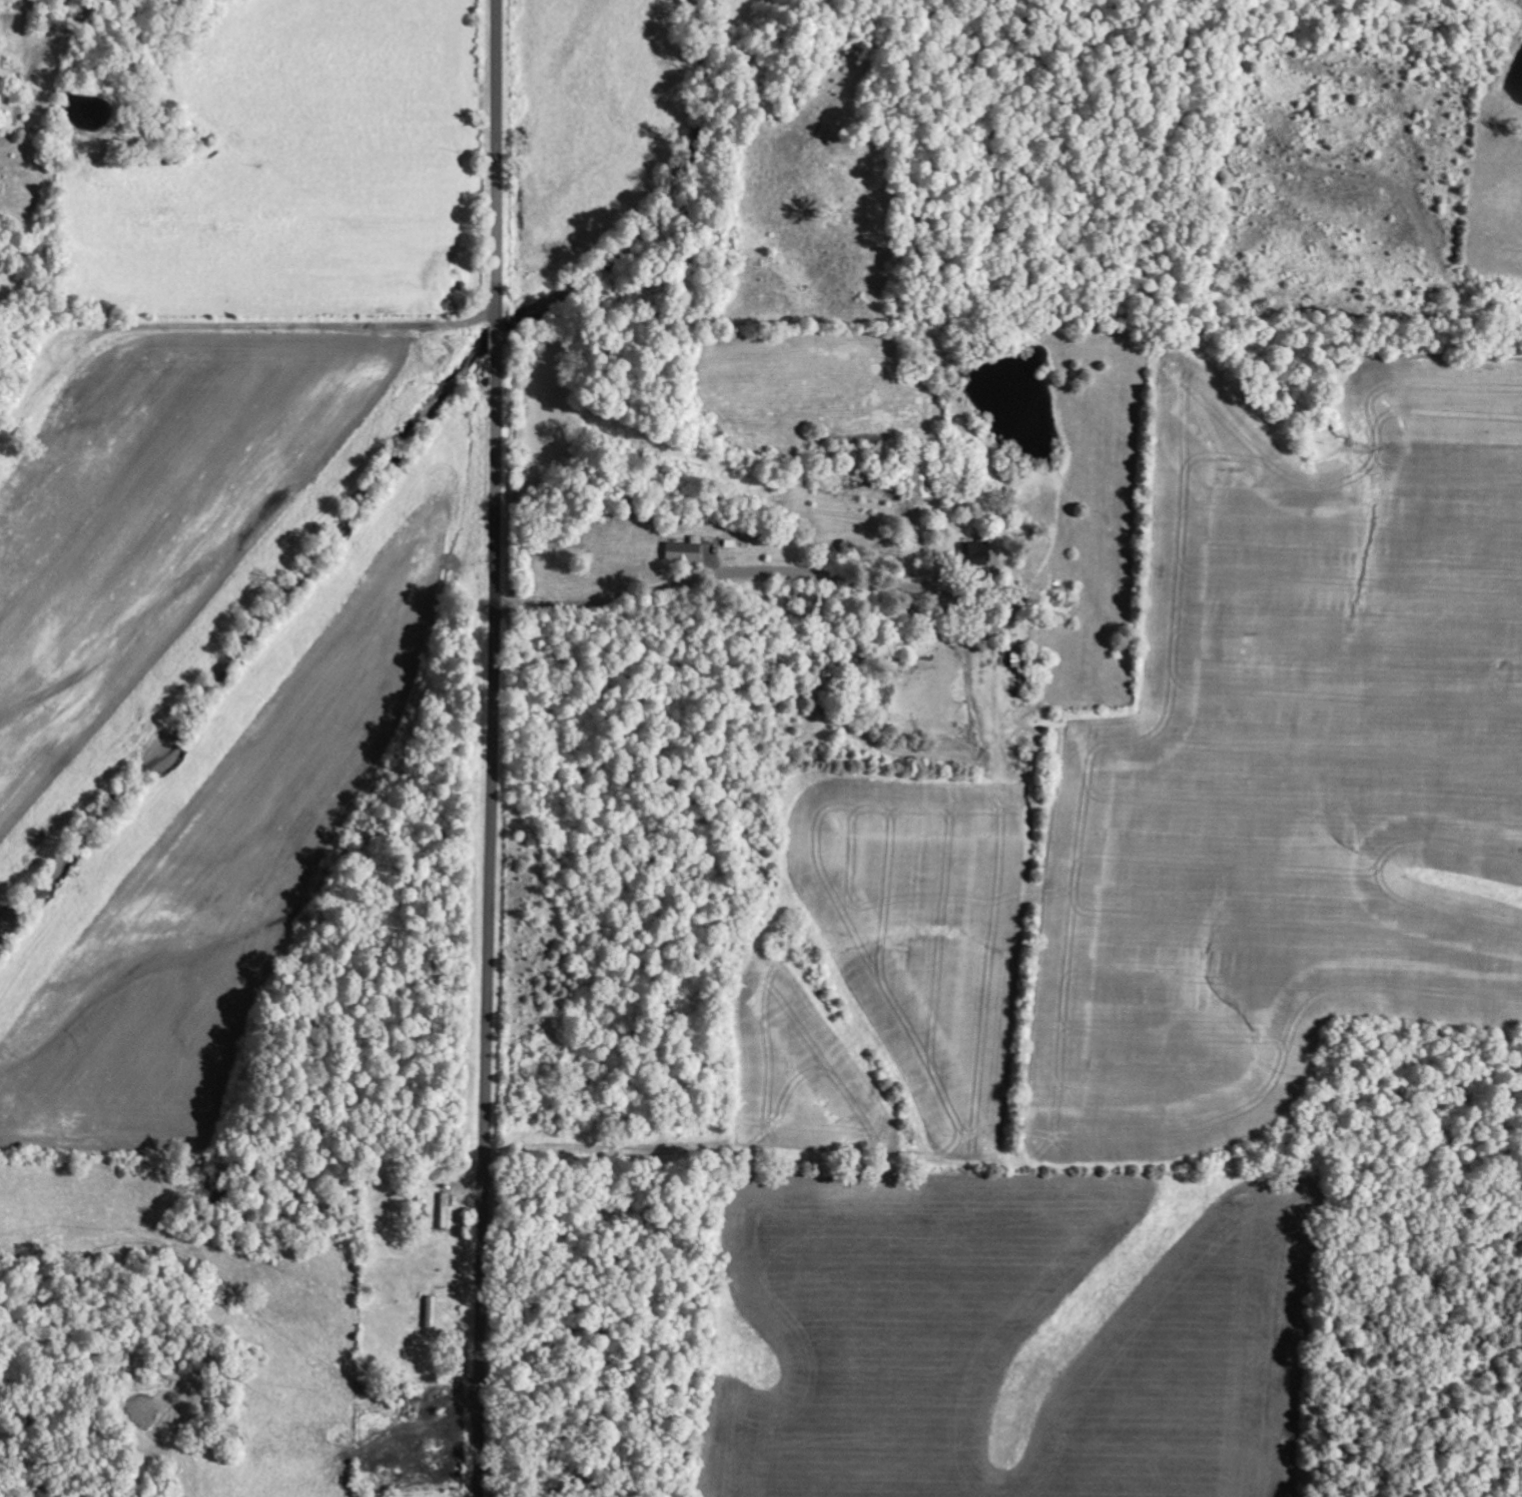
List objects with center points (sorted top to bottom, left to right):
road: (321, 265)
road: (100, 271)
building: (684, 552)
building: (981, 556)
road: (736, 574)
building: (810, 597)
road: (492, 748)

